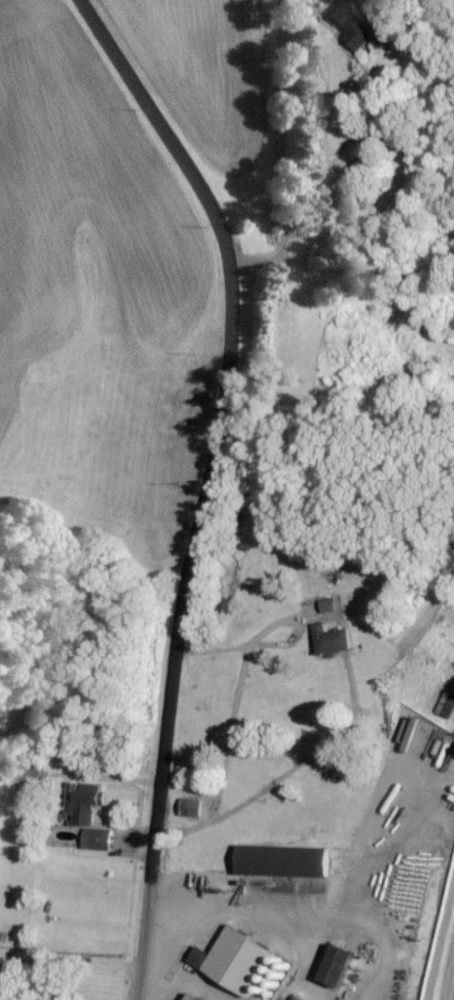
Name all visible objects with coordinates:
road: (318, 1)
building: (353, 22)
road: (278, 149)
road: (228, 361)
building: (327, 603)
road: (267, 607)
road: (211, 635)
building: (331, 637)
road: (284, 643)
road: (212, 672)
building: (447, 703)
building: (83, 800)
building: (191, 805)
building: (97, 837)
building: (282, 859)
road: (150, 878)
road: (68, 953)
building: (234, 959)
building: (337, 964)
road: (14, 975)
building: (192, 997)
building: (296, 997)

